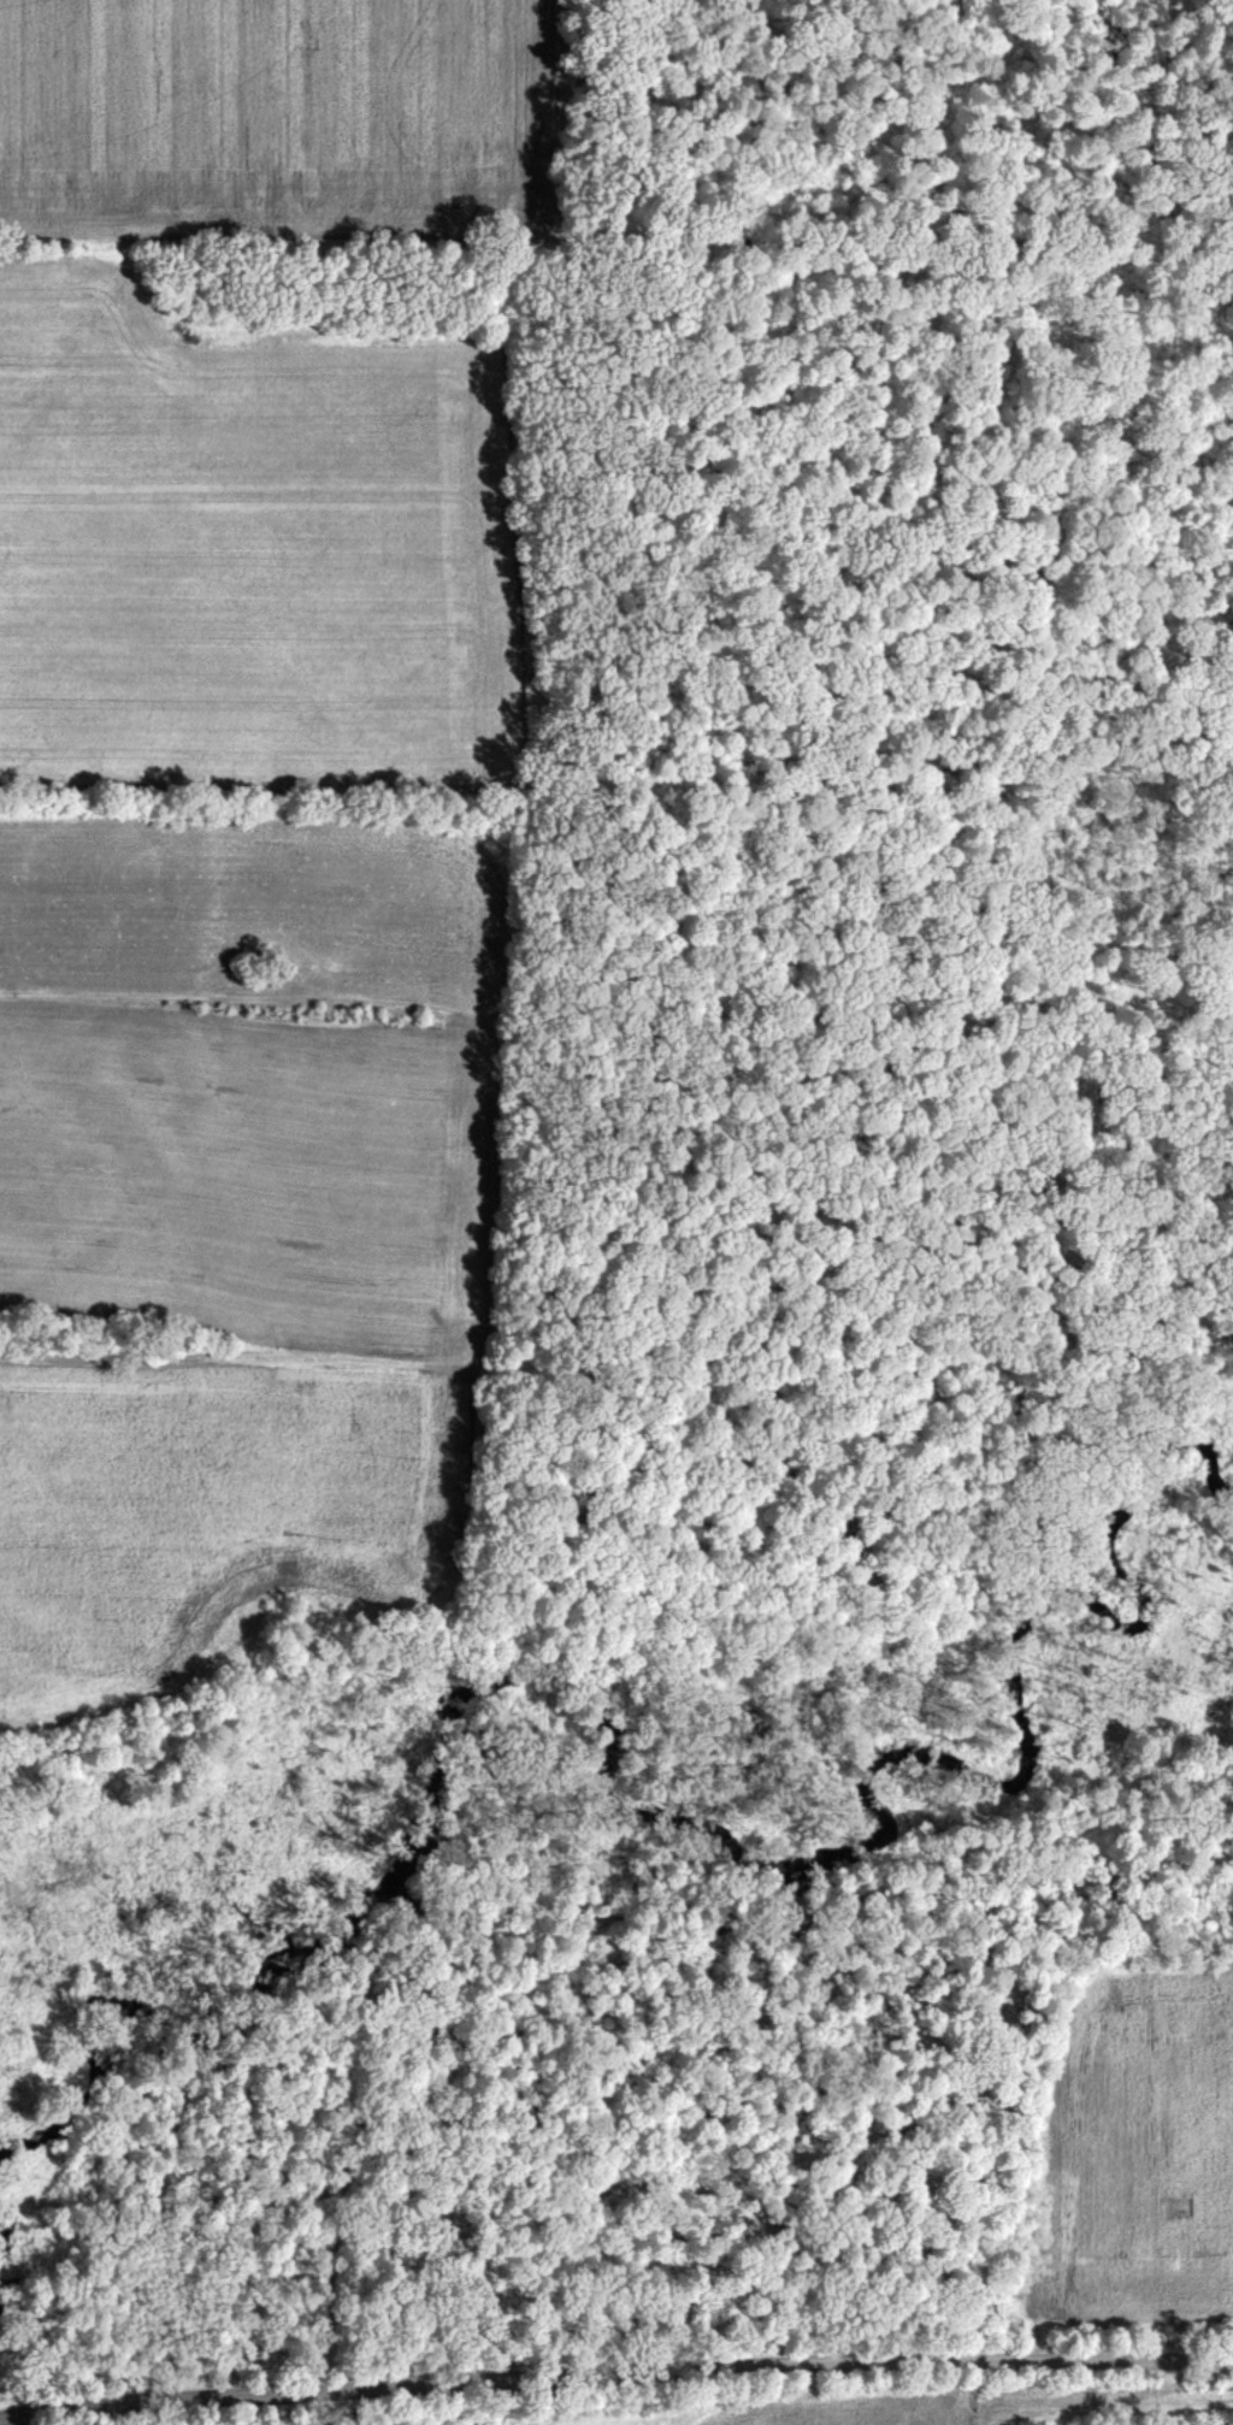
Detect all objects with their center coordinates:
road: (615, 2373)

